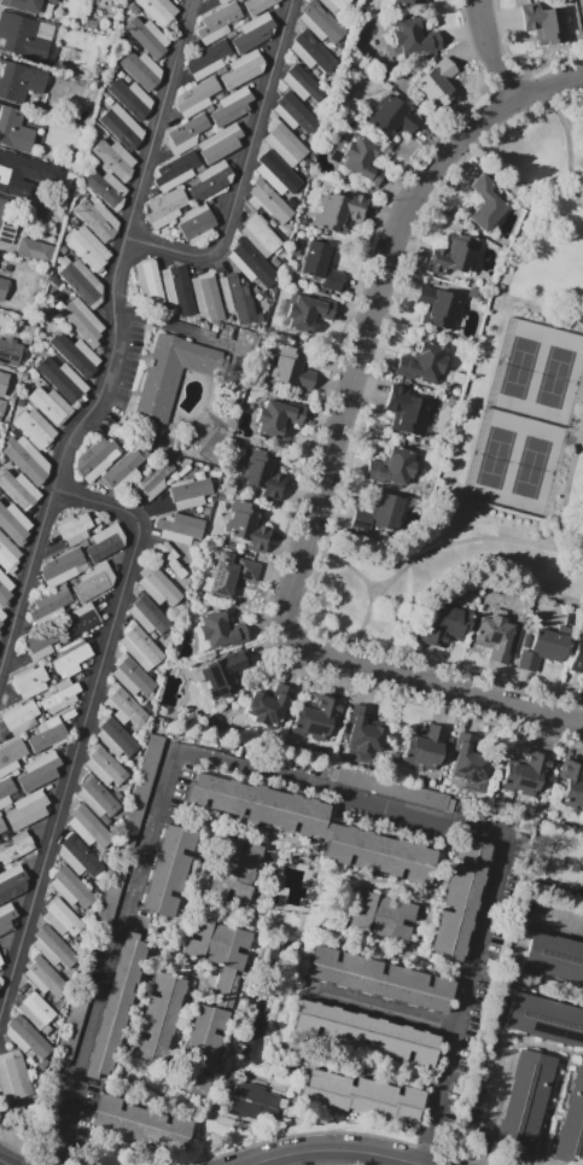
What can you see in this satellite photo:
building: (221, 0)
building: (54, 1)
building: (225, 1)
building: (408, 1)
building: (258, 5)
building: (22, 6)
building: (337, 6)
building: (159, 10)
building: (582, 18)
building: (218, 22)
building: (321, 22)
building: (92, 23)
building: (548, 25)
building: (253, 33)
building: (232, 35)
building: (24, 37)
building: (147, 37)
building: (413, 37)
building: (313, 52)
road: (492, 54)
building: (208, 59)
building: (139, 68)
building: (243, 69)
building: (19, 81)
building: (437, 82)
building: (302, 83)
road: (548, 89)
building: (197, 97)
building: (130, 98)
building: (232, 106)
building: (295, 112)
building: (391, 117)
building: (122, 126)
building: (14, 129)
building: (186, 134)
building: (285, 142)
road: (565, 142)
building: (216, 146)
building: (356, 157)
building: (115, 158)
building: (175, 170)
building: (13, 171)
building: (278, 174)
road: (247, 175)
building: (211, 180)
building: (106, 187)
building: (268, 200)
building: (486, 202)
building: (2, 206)
building: (164, 208)
building: (338, 209)
building: (37, 216)
building: (97, 219)
building: (272, 222)
building: (196, 223)
building: (260, 235)
building: (87, 247)
building: (34, 250)
building: (453, 255)
building: (321, 264)
building: (253, 268)
building: (80, 278)
building: (150, 282)
building: (2, 287)
building: (177, 289)
building: (205, 297)
building: (235, 298)
building: (438, 307)
building: (308, 313)
building: (82, 322)
road: (167, 325)
road: (115, 340)
building: (11, 353)
building: (75, 354)
building: (422, 362)
building: (287, 366)
parking lot: (144, 371)
road: (350, 372)
building: (170, 373)
building: (62, 379)
building: (48, 404)
building: (2, 406)
building: (408, 412)
building: (278, 417)
park: (525, 417)
park: (497, 426)
building: (34, 429)
building: (24, 459)
building: (95, 459)
building: (391, 466)
building: (121, 467)
building: (261, 473)
building: (153, 478)
building: (190, 491)
building: (22, 493)
building: (381, 512)
building: (12, 523)
building: (246, 525)
building: (74, 528)
building: (179, 528)
road: (488, 537)
building: (105, 542)
road: (562, 547)
building: (8, 554)
building: (167, 558)
building: (60, 566)
building: (229, 575)
building: (93, 581)
building: (158, 584)
building: (4, 588)
road: (371, 589)
building: (49, 604)
road: (371, 610)
building: (1, 613)
building: (147, 614)
building: (81, 619)
building: (0, 624)
building: (445, 624)
building: (220, 629)
building: (495, 636)
building: (42, 643)
building: (140, 646)
building: (542, 650)
building: (72, 658)
building: (577, 658)
building: (132, 676)
building: (222, 676)
building: (28, 678)
building: (582, 682)
building: (62, 695)
road: (460, 695)
building: (268, 704)
building: (123, 706)
building: (316, 717)
building: (18, 718)
road: (84, 726)
building: (366, 729)
building: (48, 734)
building: (115, 736)
building: (422, 747)
building: (11, 756)
building: (470, 757)
building: (104, 765)
building: (40, 770)
building: (525, 771)
building: (142, 779)
road: (299, 784)
building: (392, 788)
building: (572, 788)
building: (5, 791)
building: (98, 798)
building: (27, 809)
building: (1, 826)
building: (311, 826)
building: (88, 827)
building: (17, 846)
building: (77, 856)
building: (165, 869)
building: (233, 870)
building: (12, 883)
building: (70, 887)
building: (457, 899)
building: (6, 916)
building: (60, 918)
building: (381, 918)
building: (52, 948)
building: (554, 957)
building: (0, 960)
building: (0, 965)
building: (45, 978)
building: (380, 979)
building: (116, 1003)
building: (222, 1006)
building: (36, 1010)
road: (386, 1010)
road: (497, 1010)
building: (158, 1017)
building: (544, 1019)
building: (367, 1033)
building: (27, 1037)
building: (13, 1076)
building: (360, 1096)
building: (524, 1100)
building: (252, 1102)
building: (571, 1122)
building: (141, 1123)
road: (332, 1154)

